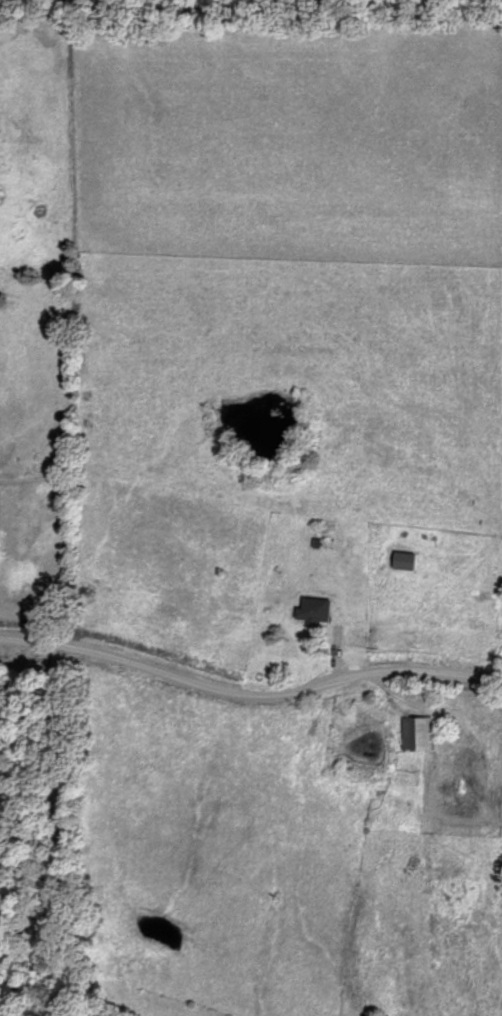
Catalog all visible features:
building: (326, 533)
building: (316, 610)
road: (249, 692)
building: (419, 734)

